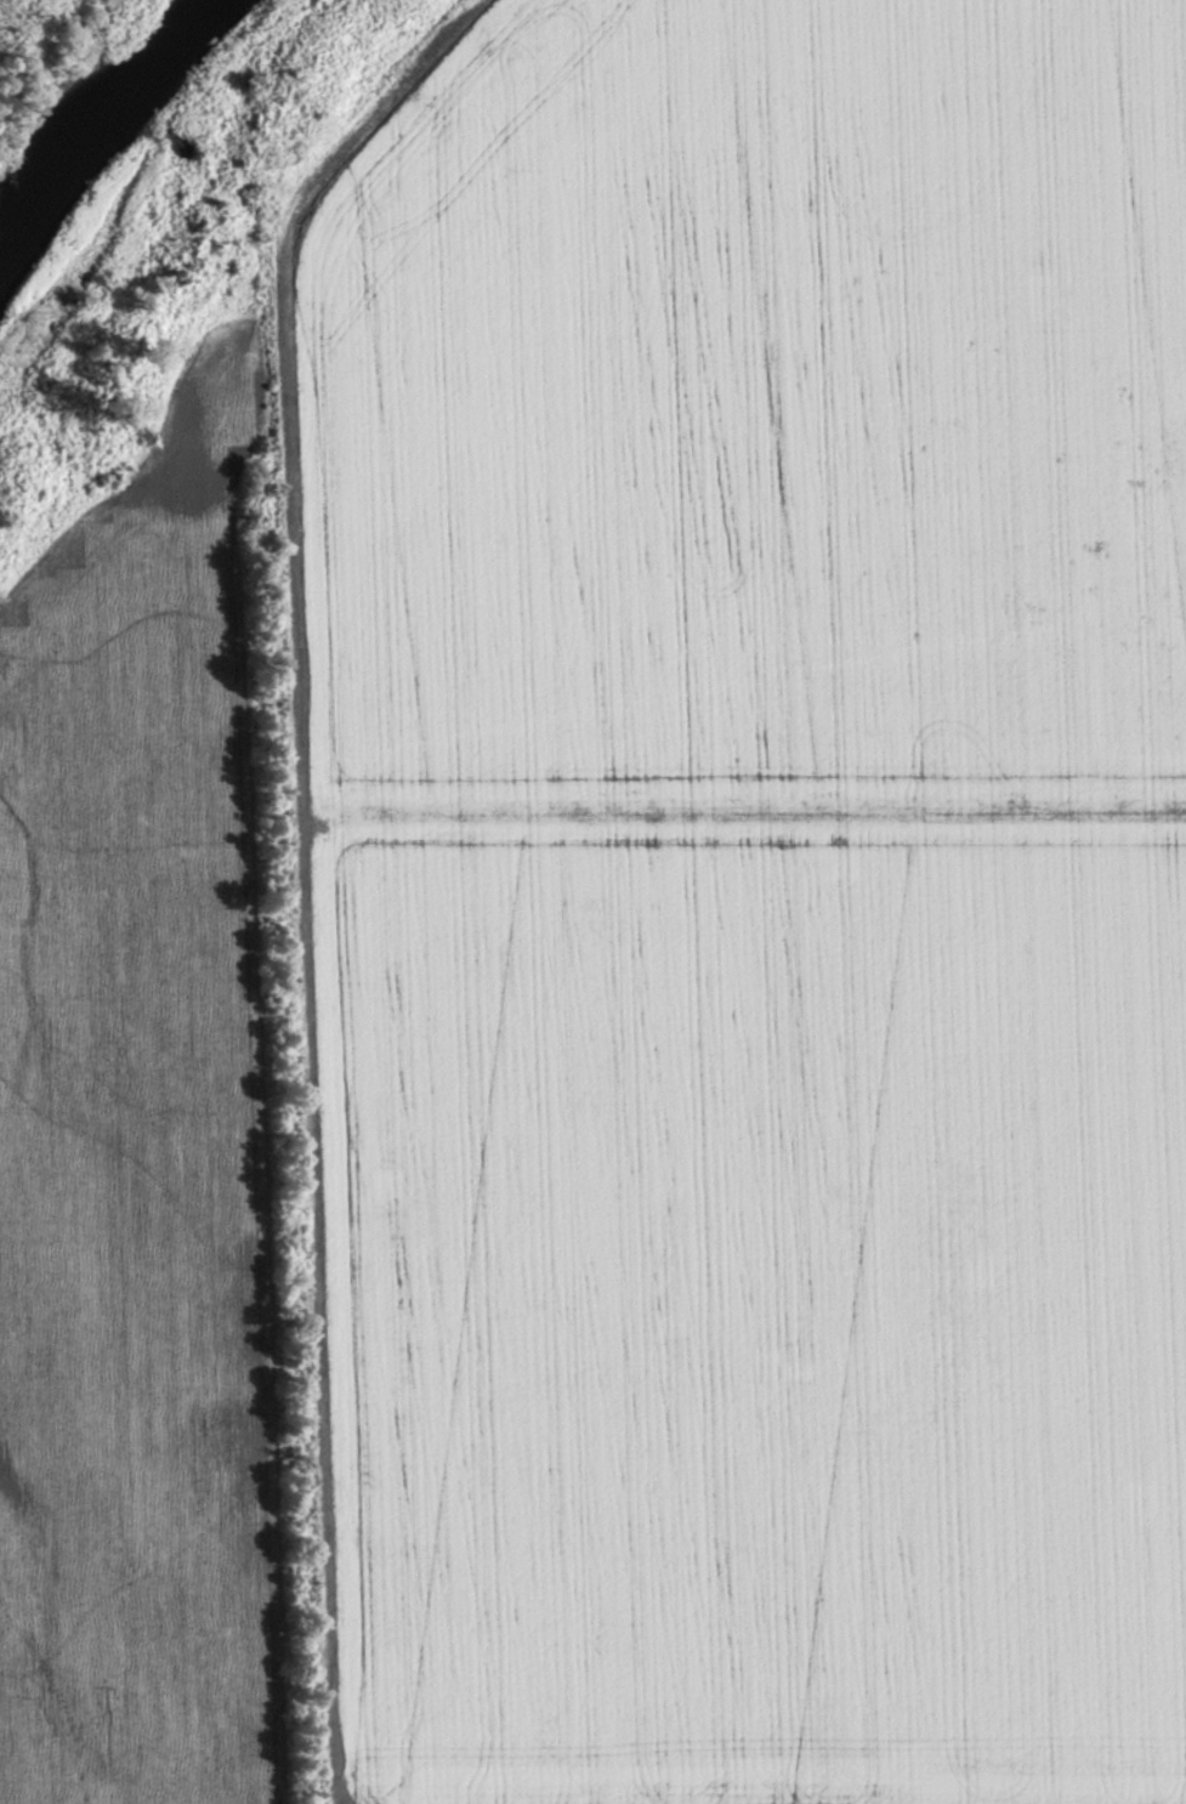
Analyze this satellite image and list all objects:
river: (96, 121)

